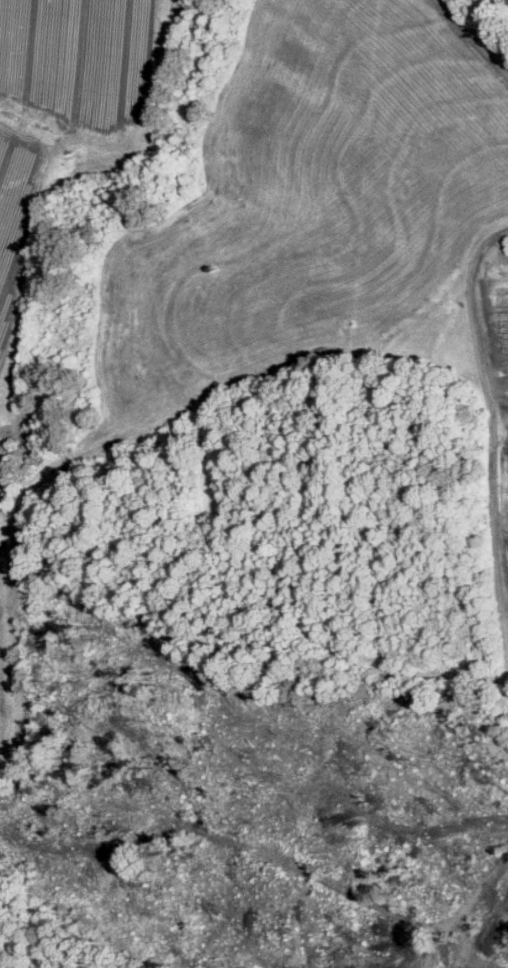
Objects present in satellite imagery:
road: (472, 41)
road: (491, 411)
road: (507, 617)
road: (465, 908)
road: (55, 942)

